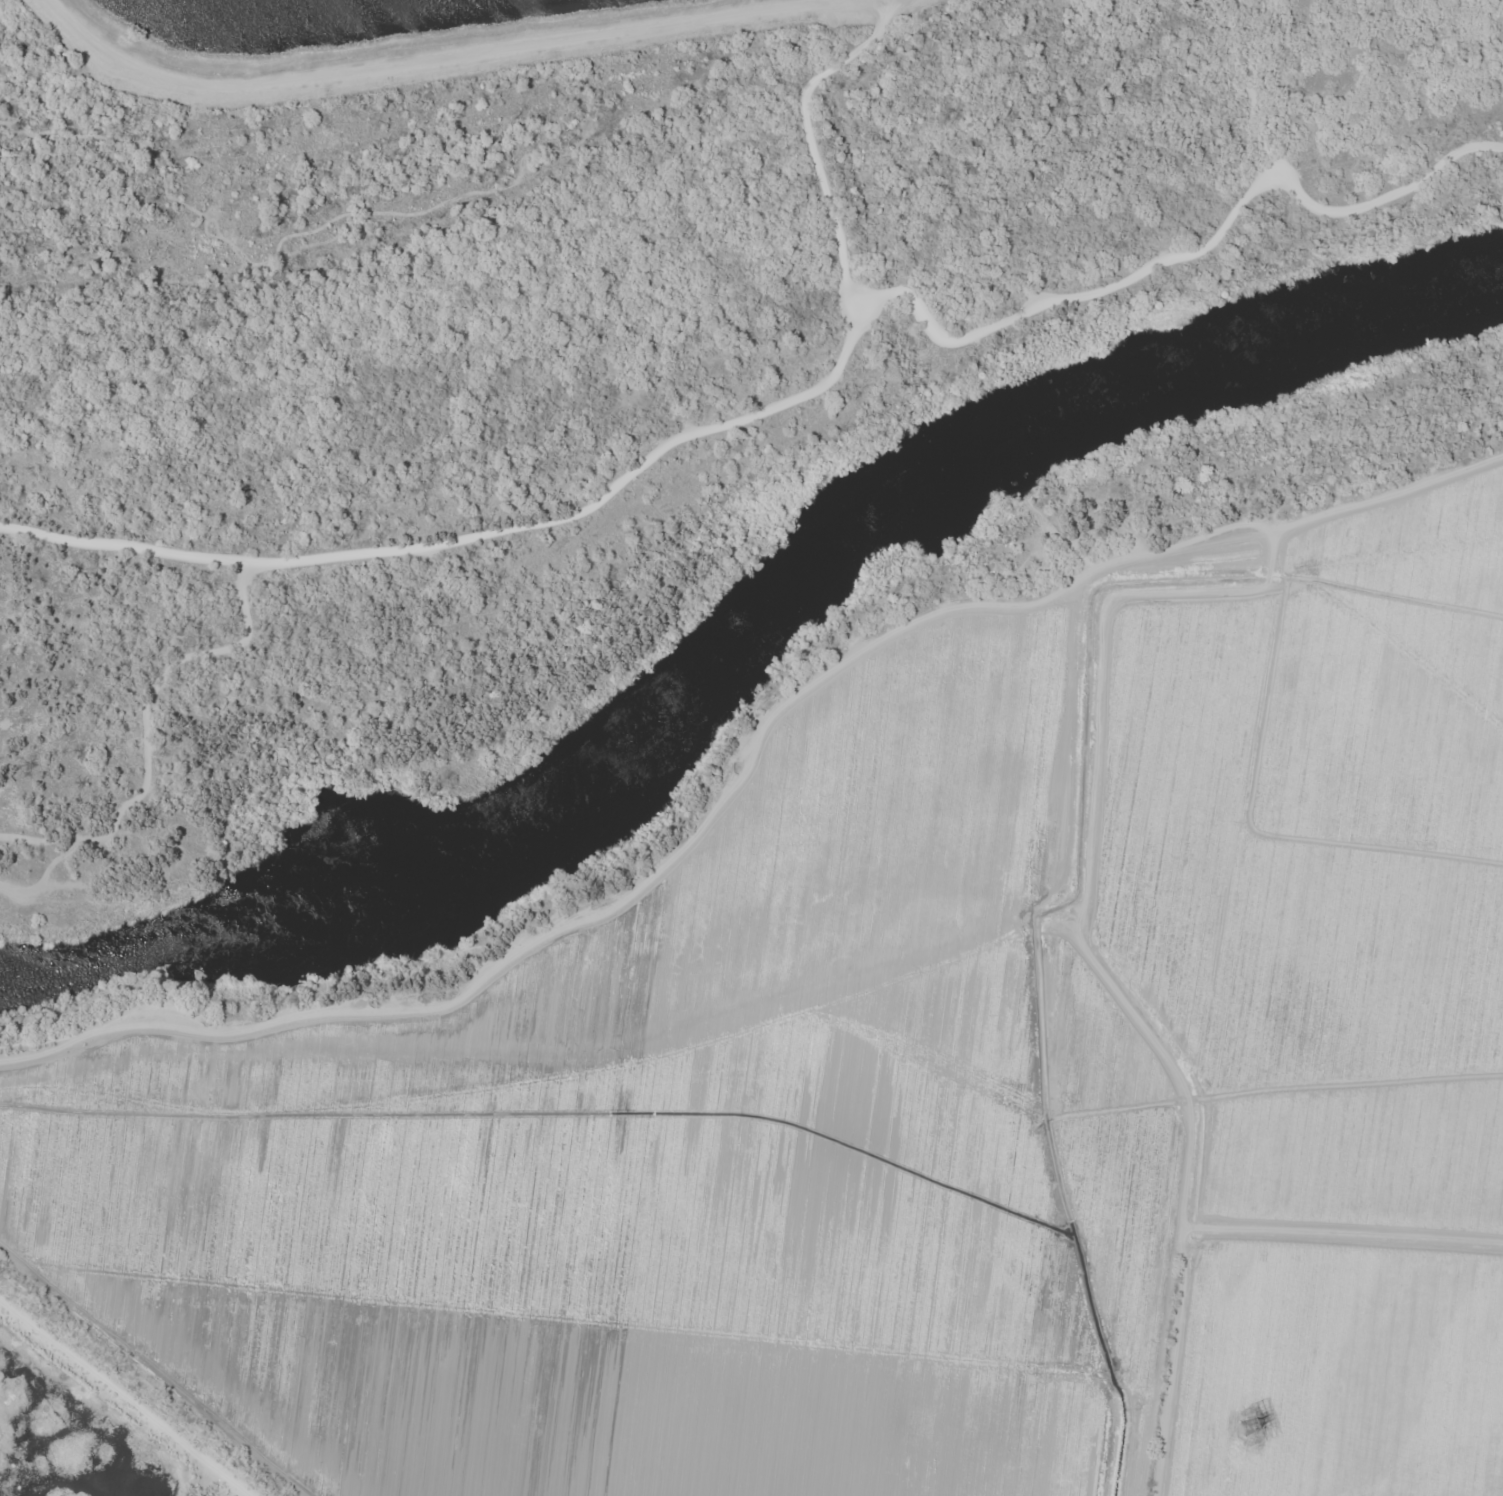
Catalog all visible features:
river: (751, 626)
power tower: (1245, 1422)

